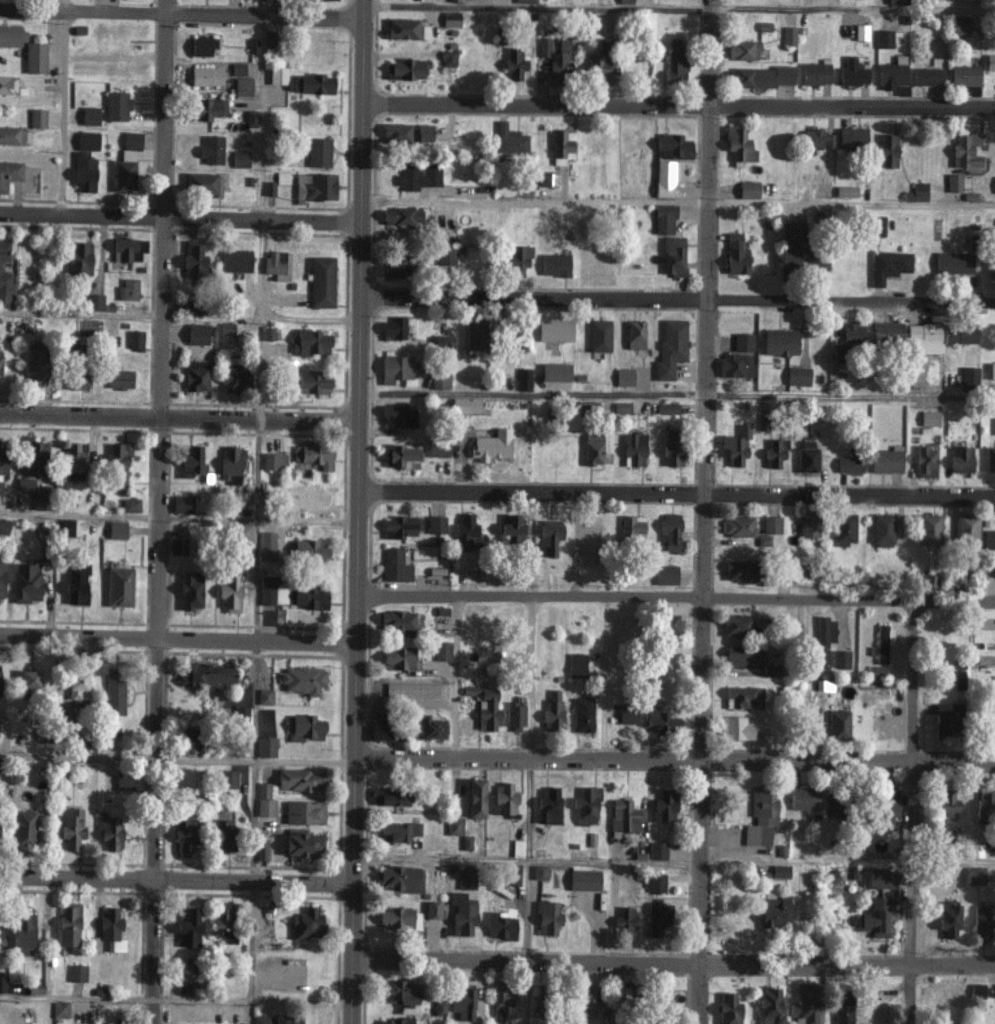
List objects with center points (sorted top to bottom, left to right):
building: (522, 1)
building: (624, 1)
building: (897, 1)
road: (676, 9)
road: (179, 15)
building: (449, 18)
building: (959, 24)
building: (405, 28)
building: (11, 35)
building: (788, 35)
building: (883, 38)
building: (201, 46)
building: (252, 46)
building: (543, 46)
building: (742, 49)
building: (33, 57)
building: (447, 57)
building: (674, 58)
building: (558, 61)
building: (989, 61)
building: (513, 63)
building: (597, 65)
building: (408, 68)
building: (851, 72)
building: (814, 73)
building: (276, 74)
building: (890, 74)
building: (963, 74)
building: (205, 75)
building: (925, 75)
building: (758, 76)
building: (308, 82)
building: (7, 83)
building: (241, 85)
road: (675, 103)
building: (115, 105)
road: (62, 107)
building: (204, 108)
building: (88, 115)
building: (36, 116)
building: (251, 117)
building: (406, 132)
building: (851, 136)
building: (816, 138)
building: (509, 139)
building: (86, 140)
building: (130, 140)
building: (738, 143)
building: (673, 144)
building: (561, 145)
building: (209, 148)
building: (887, 149)
building: (965, 149)
building: (318, 151)
building: (239, 158)
building: (82, 171)
building: (9, 172)
building: (121, 175)
building: (417, 175)
building: (542, 177)
building: (663, 178)
building: (953, 182)
building: (202, 183)
building: (314, 186)
building: (748, 189)
building: (845, 191)
building: (915, 192)
road: (675, 207)
building: (400, 215)
road: (177, 218)
building: (663, 218)
building: (879, 225)
building: (789, 233)
building: (126, 248)
building: (3, 249)
building: (735, 253)
building: (444, 255)
building: (672, 255)
building: (191, 256)
building: (78, 257)
building: (802, 258)
building: (235, 260)
building: (517, 260)
building: (276, 262)
building: (952, 262)
building: (554, 264)
building: (888, 265)
building: (990, 265)
road: (100, 266)
building: (393, 266)
building: (320, 281)
building: (5, 288)
building: (127, 288)
road: (674, 300)
building: (93, 301)
building: (194, 305)
road: (81, 315)
road: (306, 321)
building: (395, 328)
building: (554, 329)
building: (886, 331)
building: (267, 332)
building: (851, 332)
building: (959, 332)
building: (196, 333)
building: (634, 333)
building: (473, 334)
building: (598, 335)
building: (924, 337)
building: (134, 339)
building: (437, 340)
building: (309, 341)
building: (741, 341)
building: (780, 341)
building: (670, 347)
building: (836, 353)
building: (34, 365)
building: (734, 365)
building: (394, 367)
building: (553, 371)
building: (76, 374)
building: (195, 375)
building: (797, 375)
building: (623, 376)
building: (969, 376)
building: (233, 377)
building: (118, 378)
building: (522, 378)
building: (994, 378)
building: (311, 381)
building: (437, 381)
road: (674, 398)
building: (464, 404)
building: (621, 407)
building: (666, 408)
building: (398, 413)
building: (929, 417)
road: (176, 418)
building: (994, 426)
building: (491, 445)
building: (735, 445)
building: (437, 447)
building: (670, 447)
building: (592, 448)
building: (633, 449)
building: (773, 452)
building: (313, 453)
building: (399, 454)
building: (31, 455)
building: (806, 455)
building: (2, 456)
building: (72, 456)
building: (989, 458)
building: (960, 459)
building: (273, 460)
building: (886, 460)
building: (925, 460)
building: (117, 461)
building: (191, 462)
building: (229, 464)
building: (849, 464)
building: (23, 484)
building: (0, 487)
road: (673, 495)
building: (301, 497)
building: (181, 502)
building: (129, 504)
road: (160, 511)
road: (253, 511)
road: (353, 511)
road: (705, 512)
road: (176, 518)
building: (435, 524)
building: (771, 524)
building: (631, 525)
building: (737, 525)
building: (807, 525)
building: (4, 526)
building: (399, 526)
building: (64, 527)
building: (843, 527)
building: (928, 528)
building: (115, 529)
building: (509, 529)
building: (881, 529)
building: (965, 529)
building: (465, 531)
building: (669, 531)
building: (241, 532)
building: (549, 535)
building: (988, 539)
building: (266, 545)
building: (177, 546)
building: (307, 550)
building: (394, 565)
building: (739, 570)
building: (994, 570)
building: (664, 574)
building: (25, 581)
building: (74, 583)
building: (1, 585)
building: (117, 586)
building: (189, 590)
building: (270, 591)
building: (228, 592)
building: (308, 596)
road: (673, 597)
building: (396, 621)
building: (670, 624)
building: (736, 624)
building: (793, 630)
road: (175, 636)
building: (823, 639)
building: (881, 643)
building: (441, 650)
building: (742, 654)
building: (397, 658)
building: (840, 659)
building: (575, 665)
building: (770, 669)
building: (204, 674)
road: (455, 676)
road: (606, 677)
building: (959, 679)
building: (302, 680)
building: (27, 682)
building: (76, 684)
building: (414, 690)
building: (113, 693)
building: (263, 695)
building: (743, 697)
building: (483, 706)
building: (551, 710)
building: (240, 713)
building: (582, 714)
building: (626, 714)
building: (513, 715)
building: (945, 719)
building: (658, 720)
building: (837, 724)
building: (303, 727)
building: (431, 727)
building: (734, 728)
building: (186, 737)
building: (265, 746)
road: (672, 757)
road: (175, 759)
building: (227, 778)
building: (297, 780)
building: (123, 783)
building: (388, 797)
building: (804, 797)
building: (473, 798)
building: (834, 799)
building: (263, 800)
building: (502, 800)
building: (985, 802)
building: (888, 803)
building: (945, 803)
building: (547, 805)
building: (585, 805)
building: (663, 806)
road: (531, 810)
road: (910, 811)
building: (303, 812)
building: (625, 813)
building: (760, 817)
building: (453, 825)
building: (70, 827)
building: (22, 828)
building: (397, 831)
building: (109, 832)
building: (183, 835)
building: (221, 835)
building: (301, 845)
building: (261, 847)
building: (974, 849)
building: (656, 850)
road: (672, 860)
building: (779, 871)
building: (538, 872)
building: (512, 874)
building: (975, 874)
road: (174, 878)
building: (398, 878)
building: (465, 878)
building: (583, 879)
building: (879, 879)
building: (655, 883)
building: (433, 910)
building: (774, 911)
building: (461, 913)
building: (546, 918)
building: (875, 918)
building: (948, 918)
building: (398, 919)
building: (657, 919)
building: (623, 920)
building: (982, 921)
building: (305, 923)
building: (220, 925)
building: (66, 926)
building: (498, 926)
building: (187, 927)
building: (107, 932)
building: (22, 933)
road: (671, 961)
building: (76, 972)
building: (2, 982)
building: (619, 988)
building: (976, 989)
building: (398, 991)
building: (661, 995)
building: (502, 996)
building: (587, 998)
road: (174, 1000)
building: (461, 1001)
building: (804, 1003)
building: (768, 1004)
building: (437, 1006)
building: (59, 1008)
building: (727, 1008)
building: (841, 1009)
building: (276, 1018)
building: (395, 1020)

